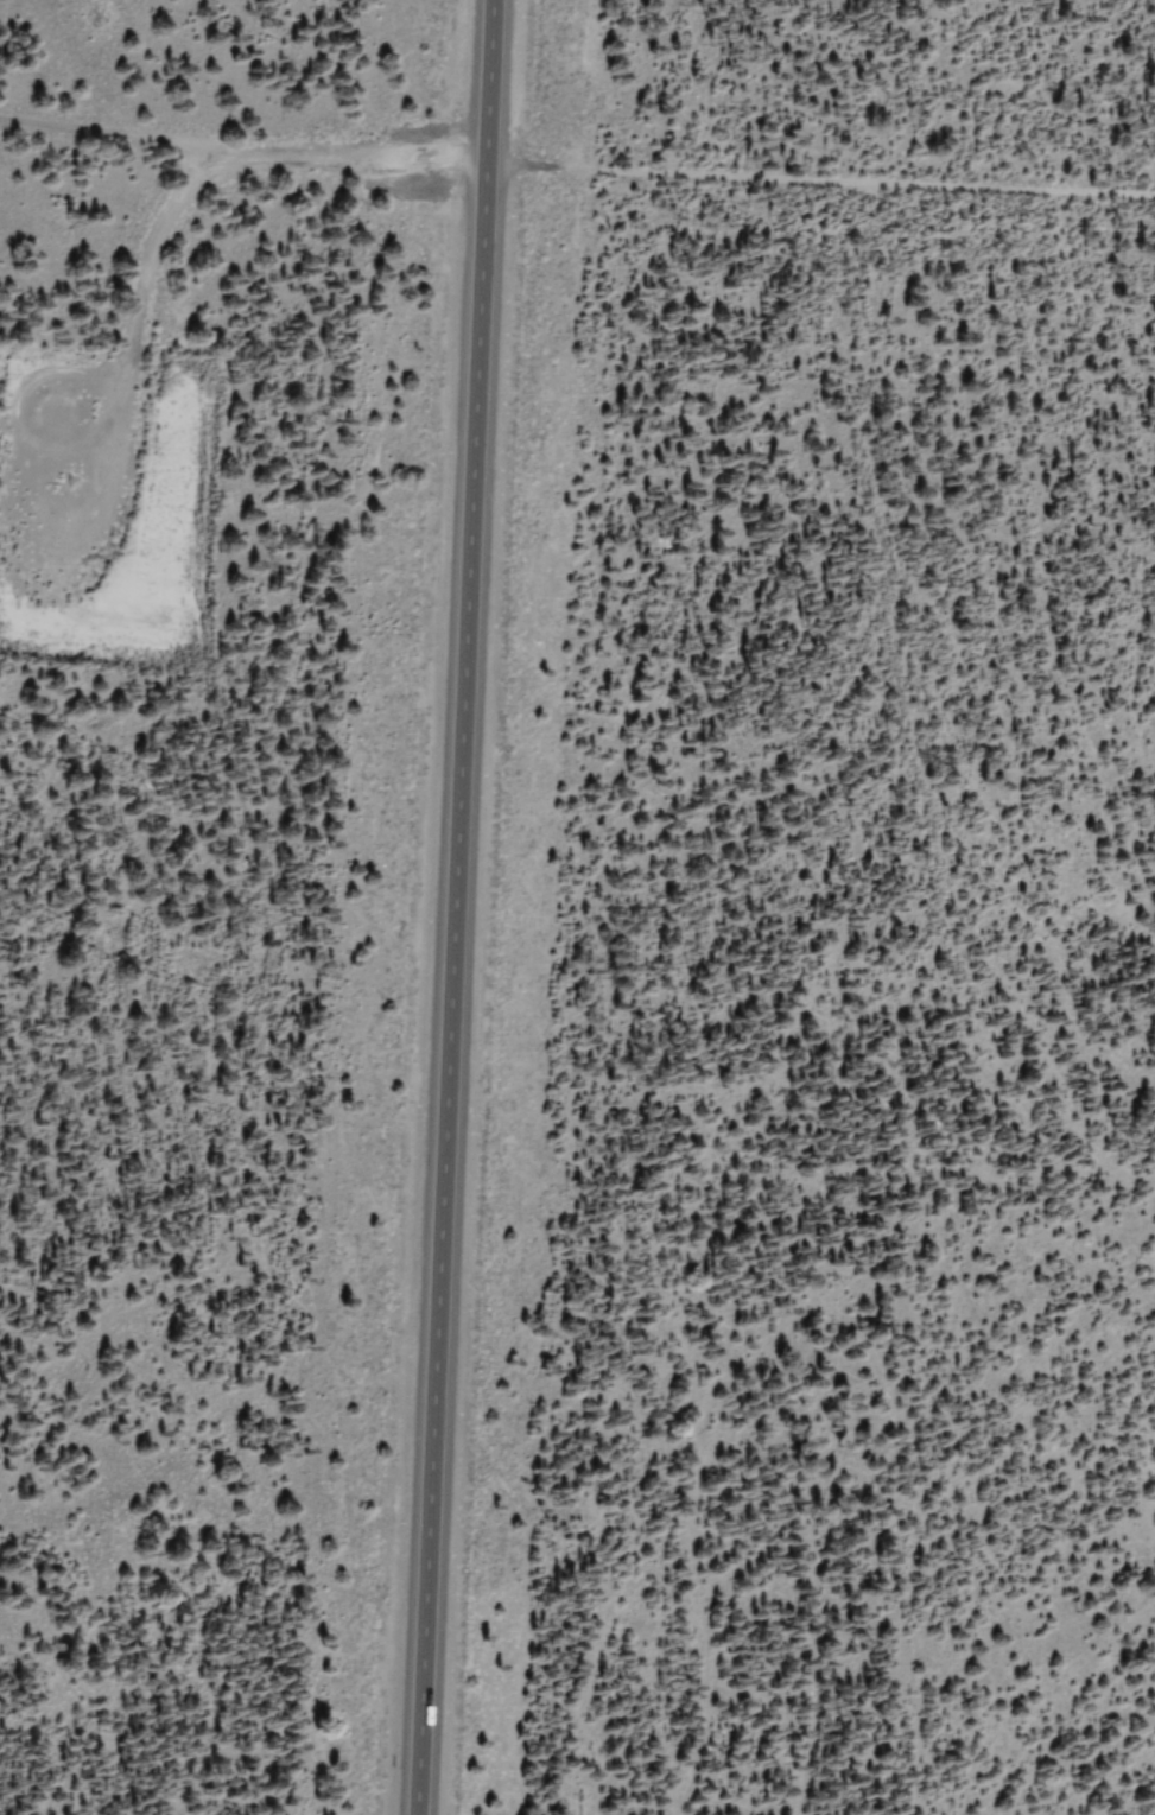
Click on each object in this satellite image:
road: (240, 152)
road: (819, 177)
road: (451, 907)

